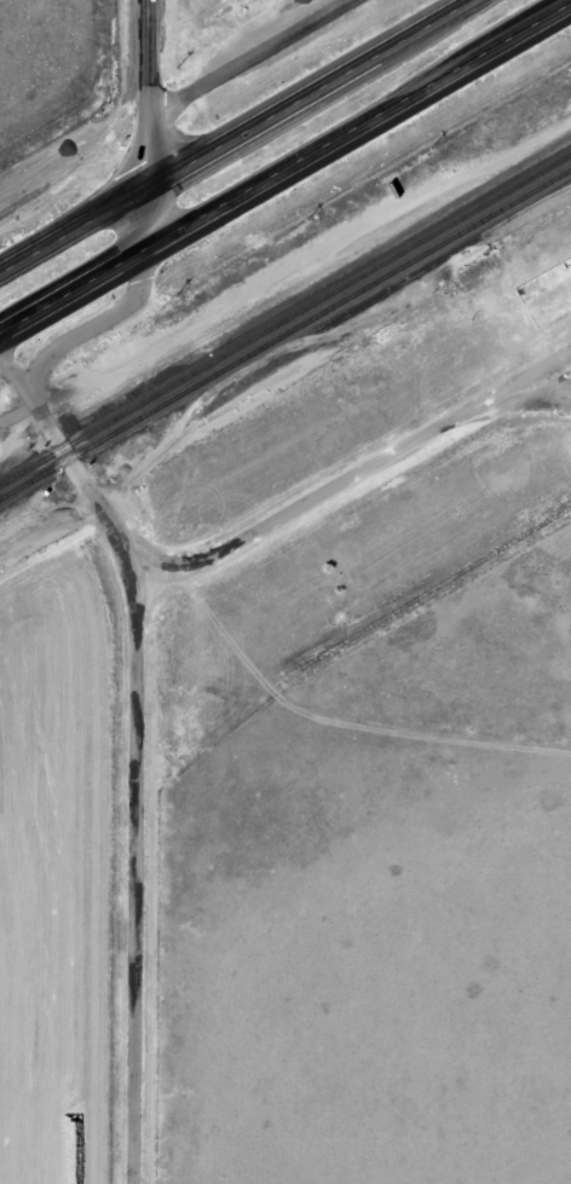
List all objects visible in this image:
road: (248, 58)
road: (151, 122)
road: (236, 137)
road: (284, 167)
railway: (443, 255)
railway: (285, 320)
road: (99, 322)
railway: (285, 336)
road: (51, 429)
railway: (431, 587)
road: (138, 845)

